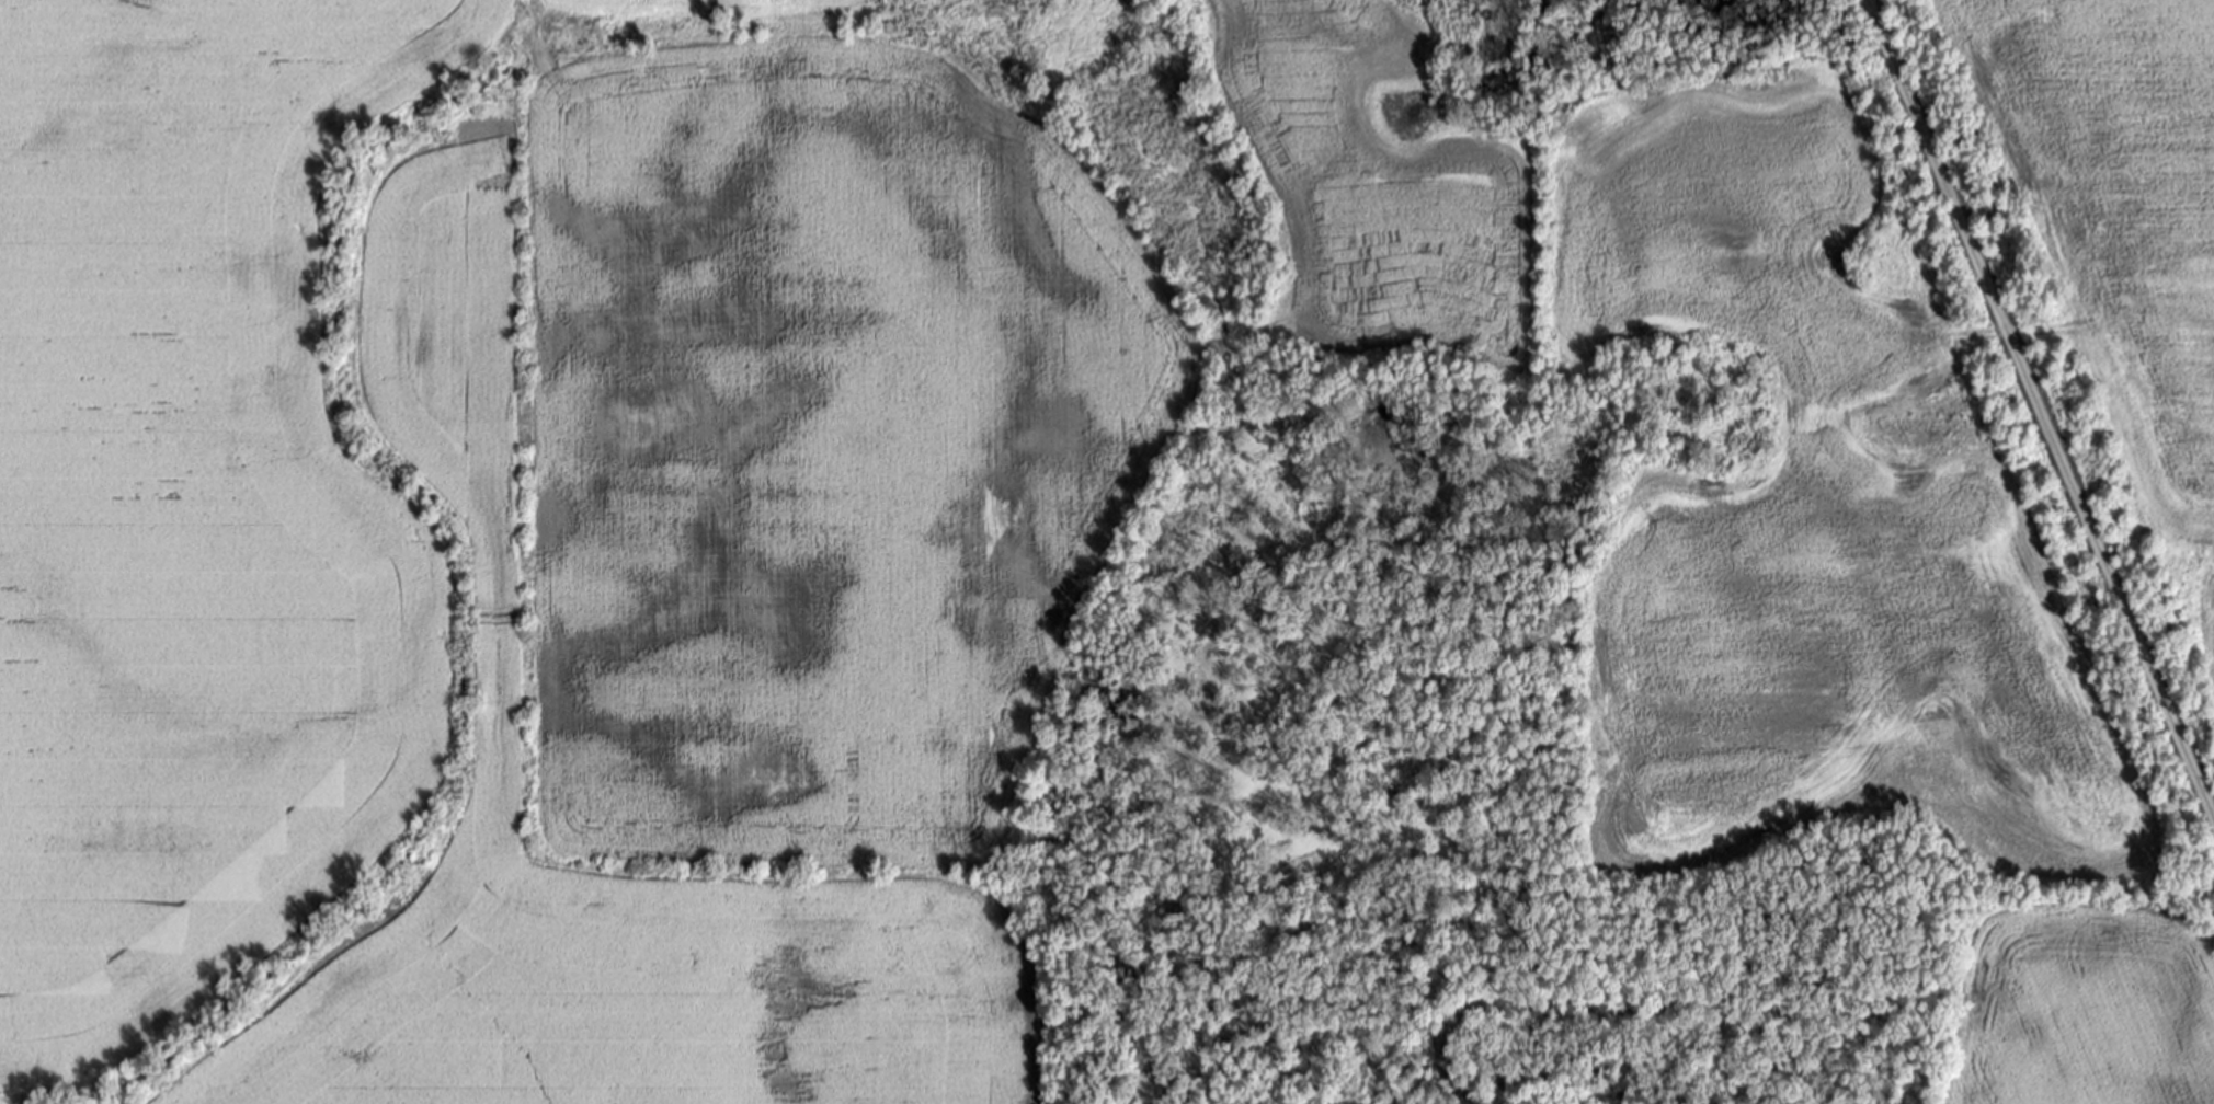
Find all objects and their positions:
road: (2038, 421)

